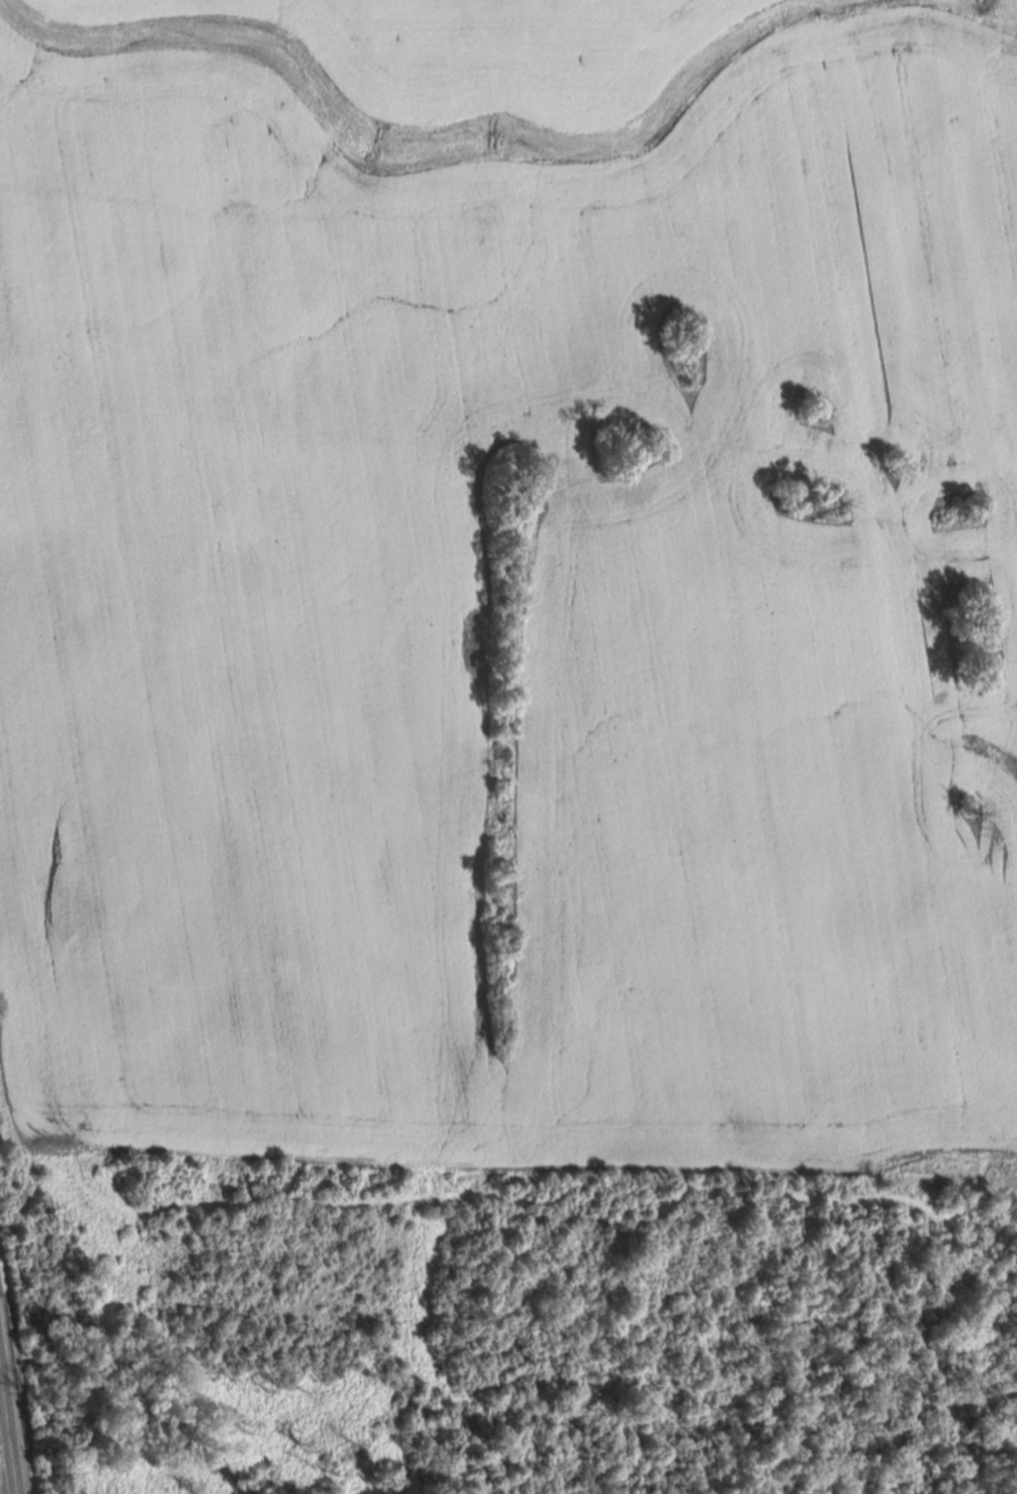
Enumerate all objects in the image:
road: (8, 1434)

